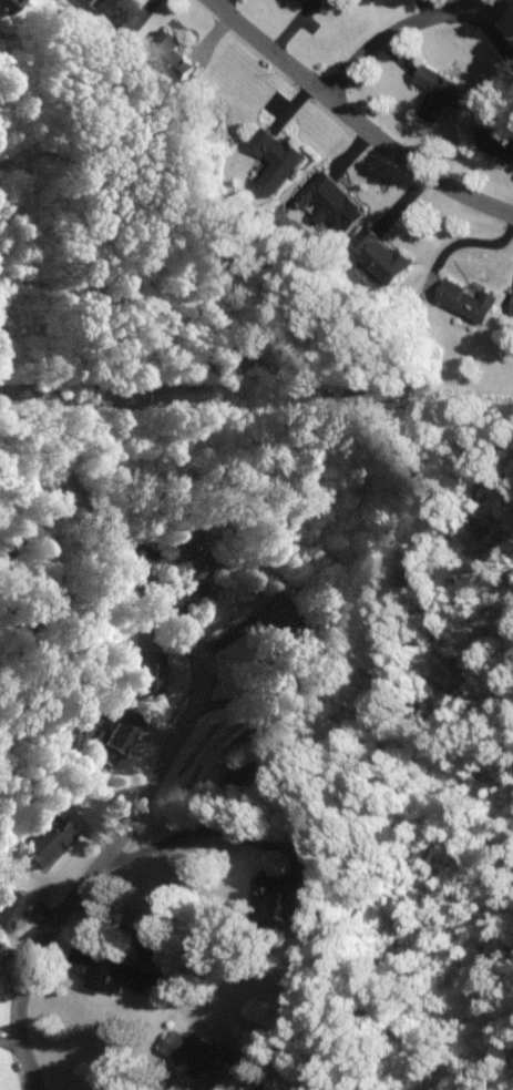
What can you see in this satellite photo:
building: (320, 0)
building: (4, 3)
building: (116, 7)
road: (394, 29)
building: (172, 49)
building: (437, 90)
road: (356, 121)
building: (496, 141)
building: (275, 156)
building: (330, 198)
building: (383, 251)
building: (466, 298)
building: (512, 307)
park: (35, 499)
road: (30, 523)
road: (104, 539)
building: (191, 552)
building: (268, 612)
building: (145, 670)
building: (114, 732)
building: (239, 764)
building: (51, 819)
road: (198, 826)
building: (44, 842)
road: (88, 870)
building: (278, 894)
building: (13, 903)
building: (0, 950)
building: (110, 969)
building: (191, 1049)
building: (261, 1086)

